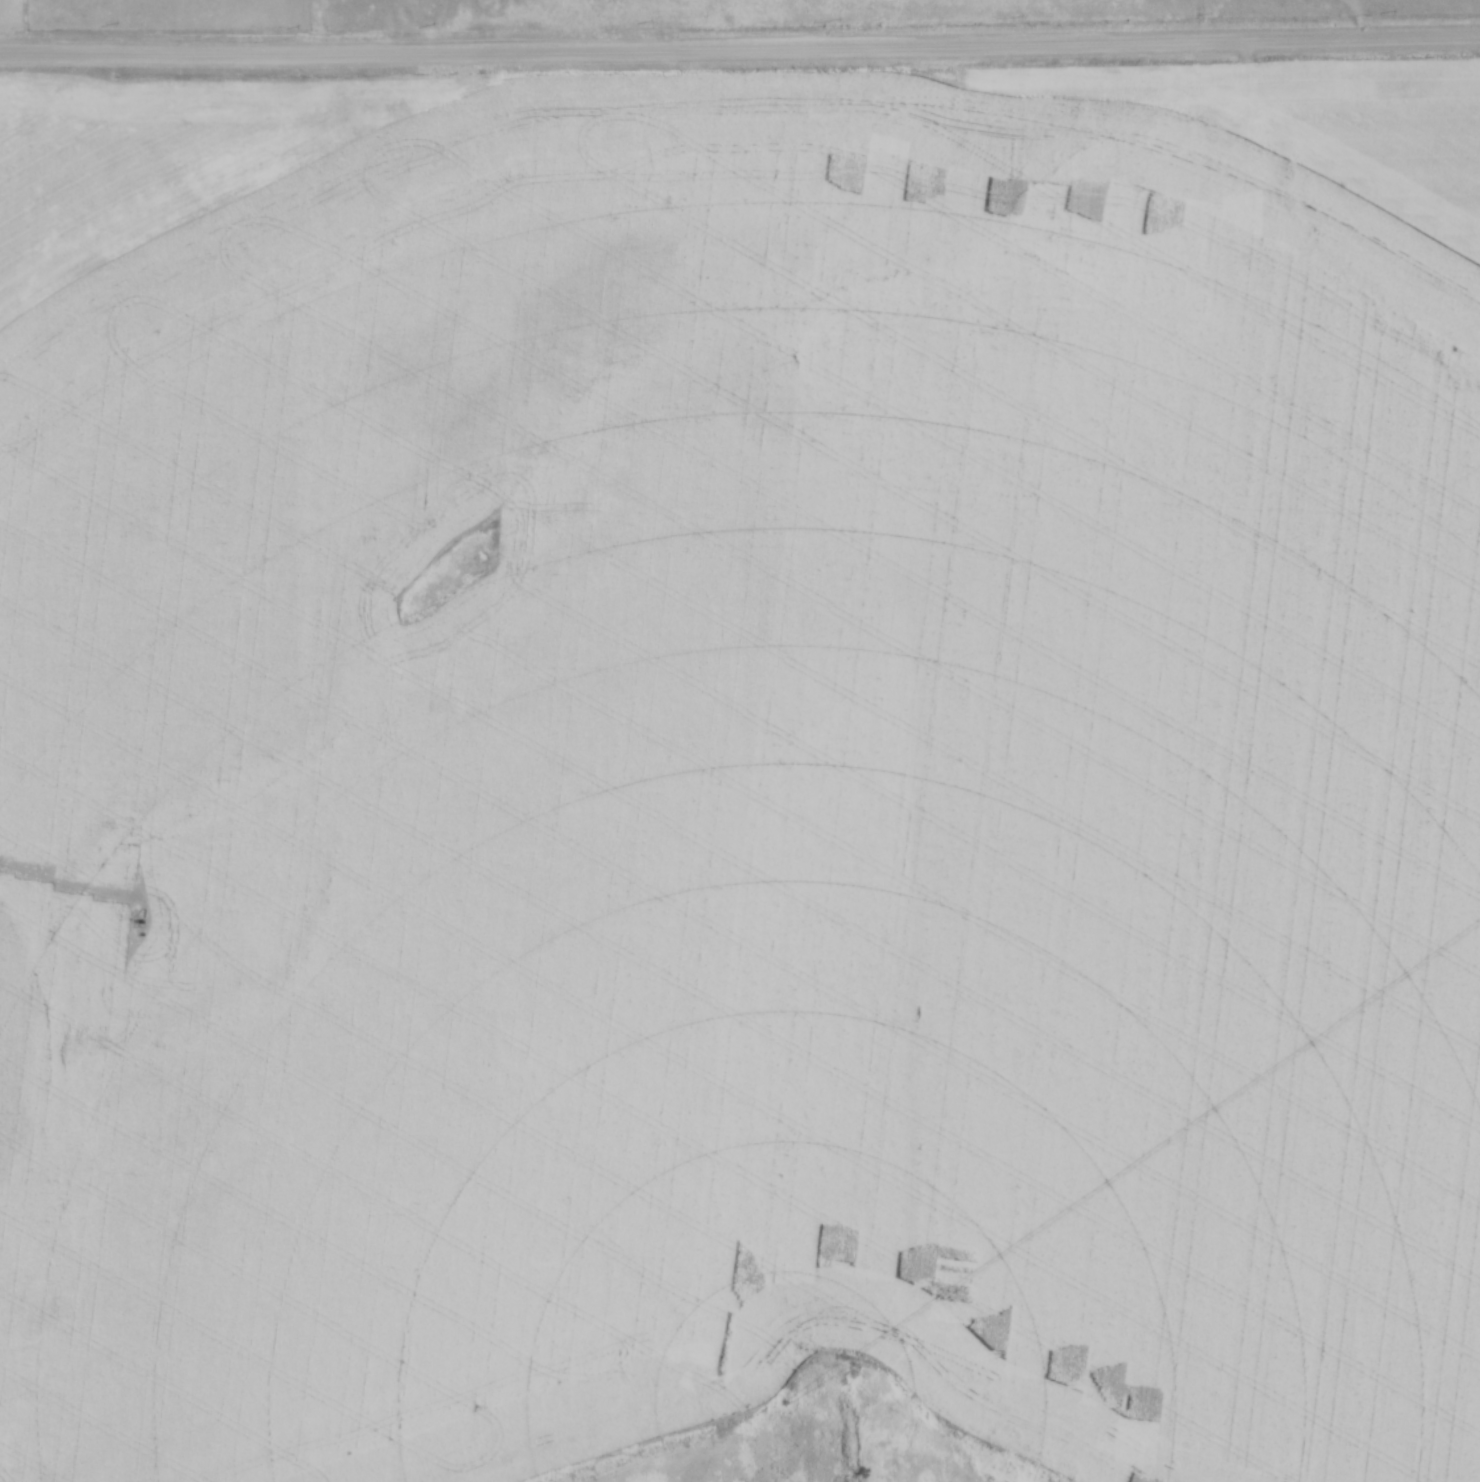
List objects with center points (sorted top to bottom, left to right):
crop: (7, 11)
road: (740, 52)
crop: (1303, 121)
crop: (162, 155)
crop: (744, 798)

